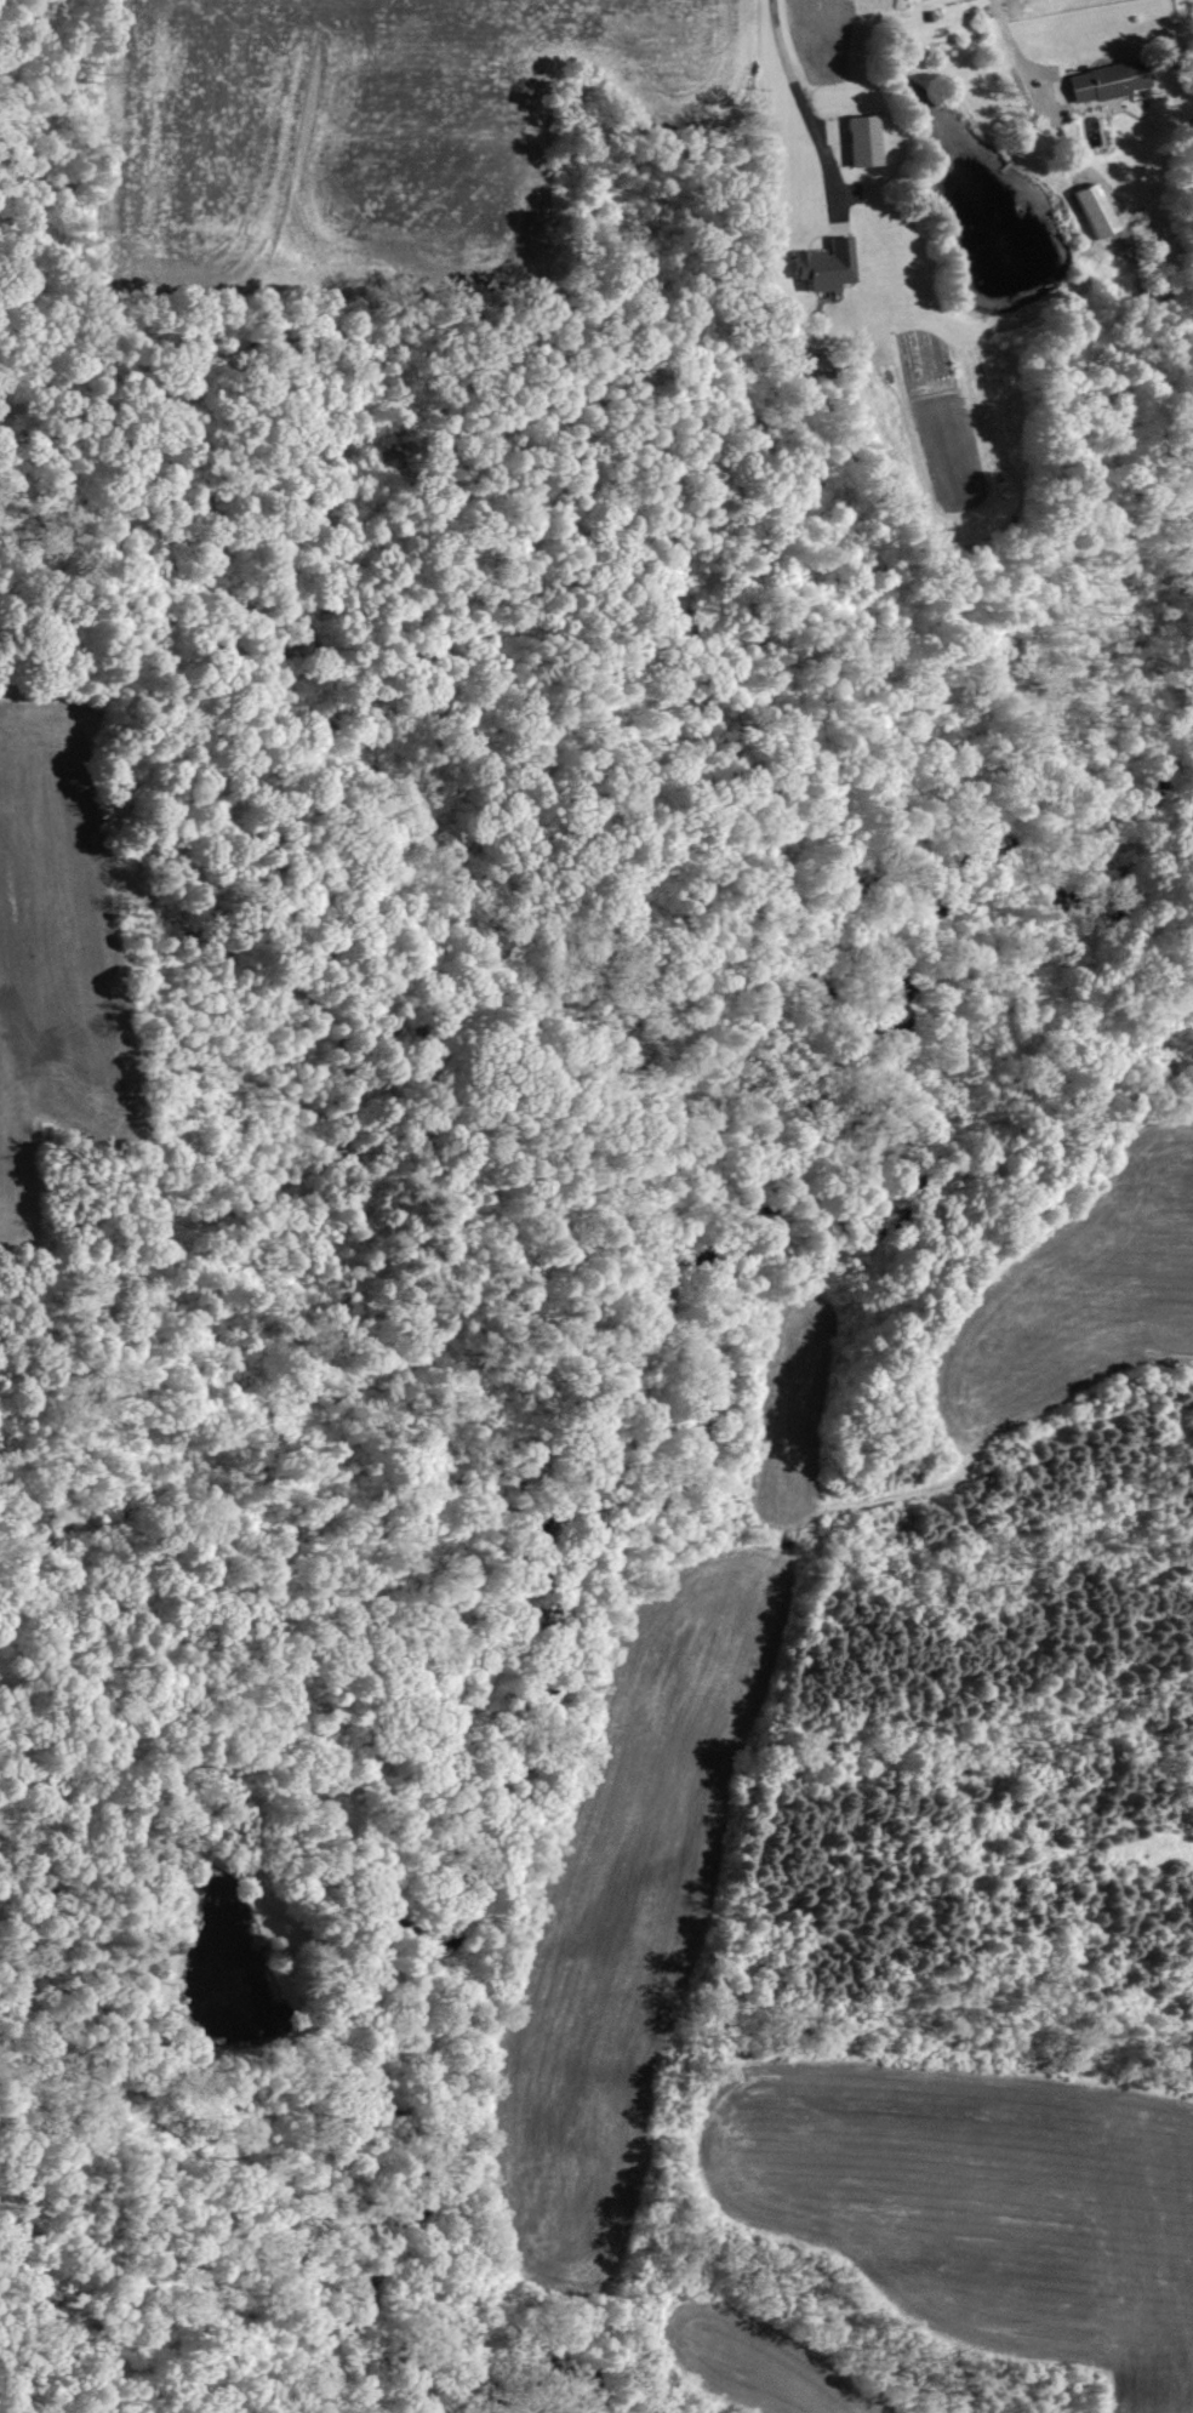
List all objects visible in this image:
road: (1012, 50)
building: (1103, 81)
road: (799, 104)
building: (857, 141)
building: (1091, 211)
building: (821, 266)

